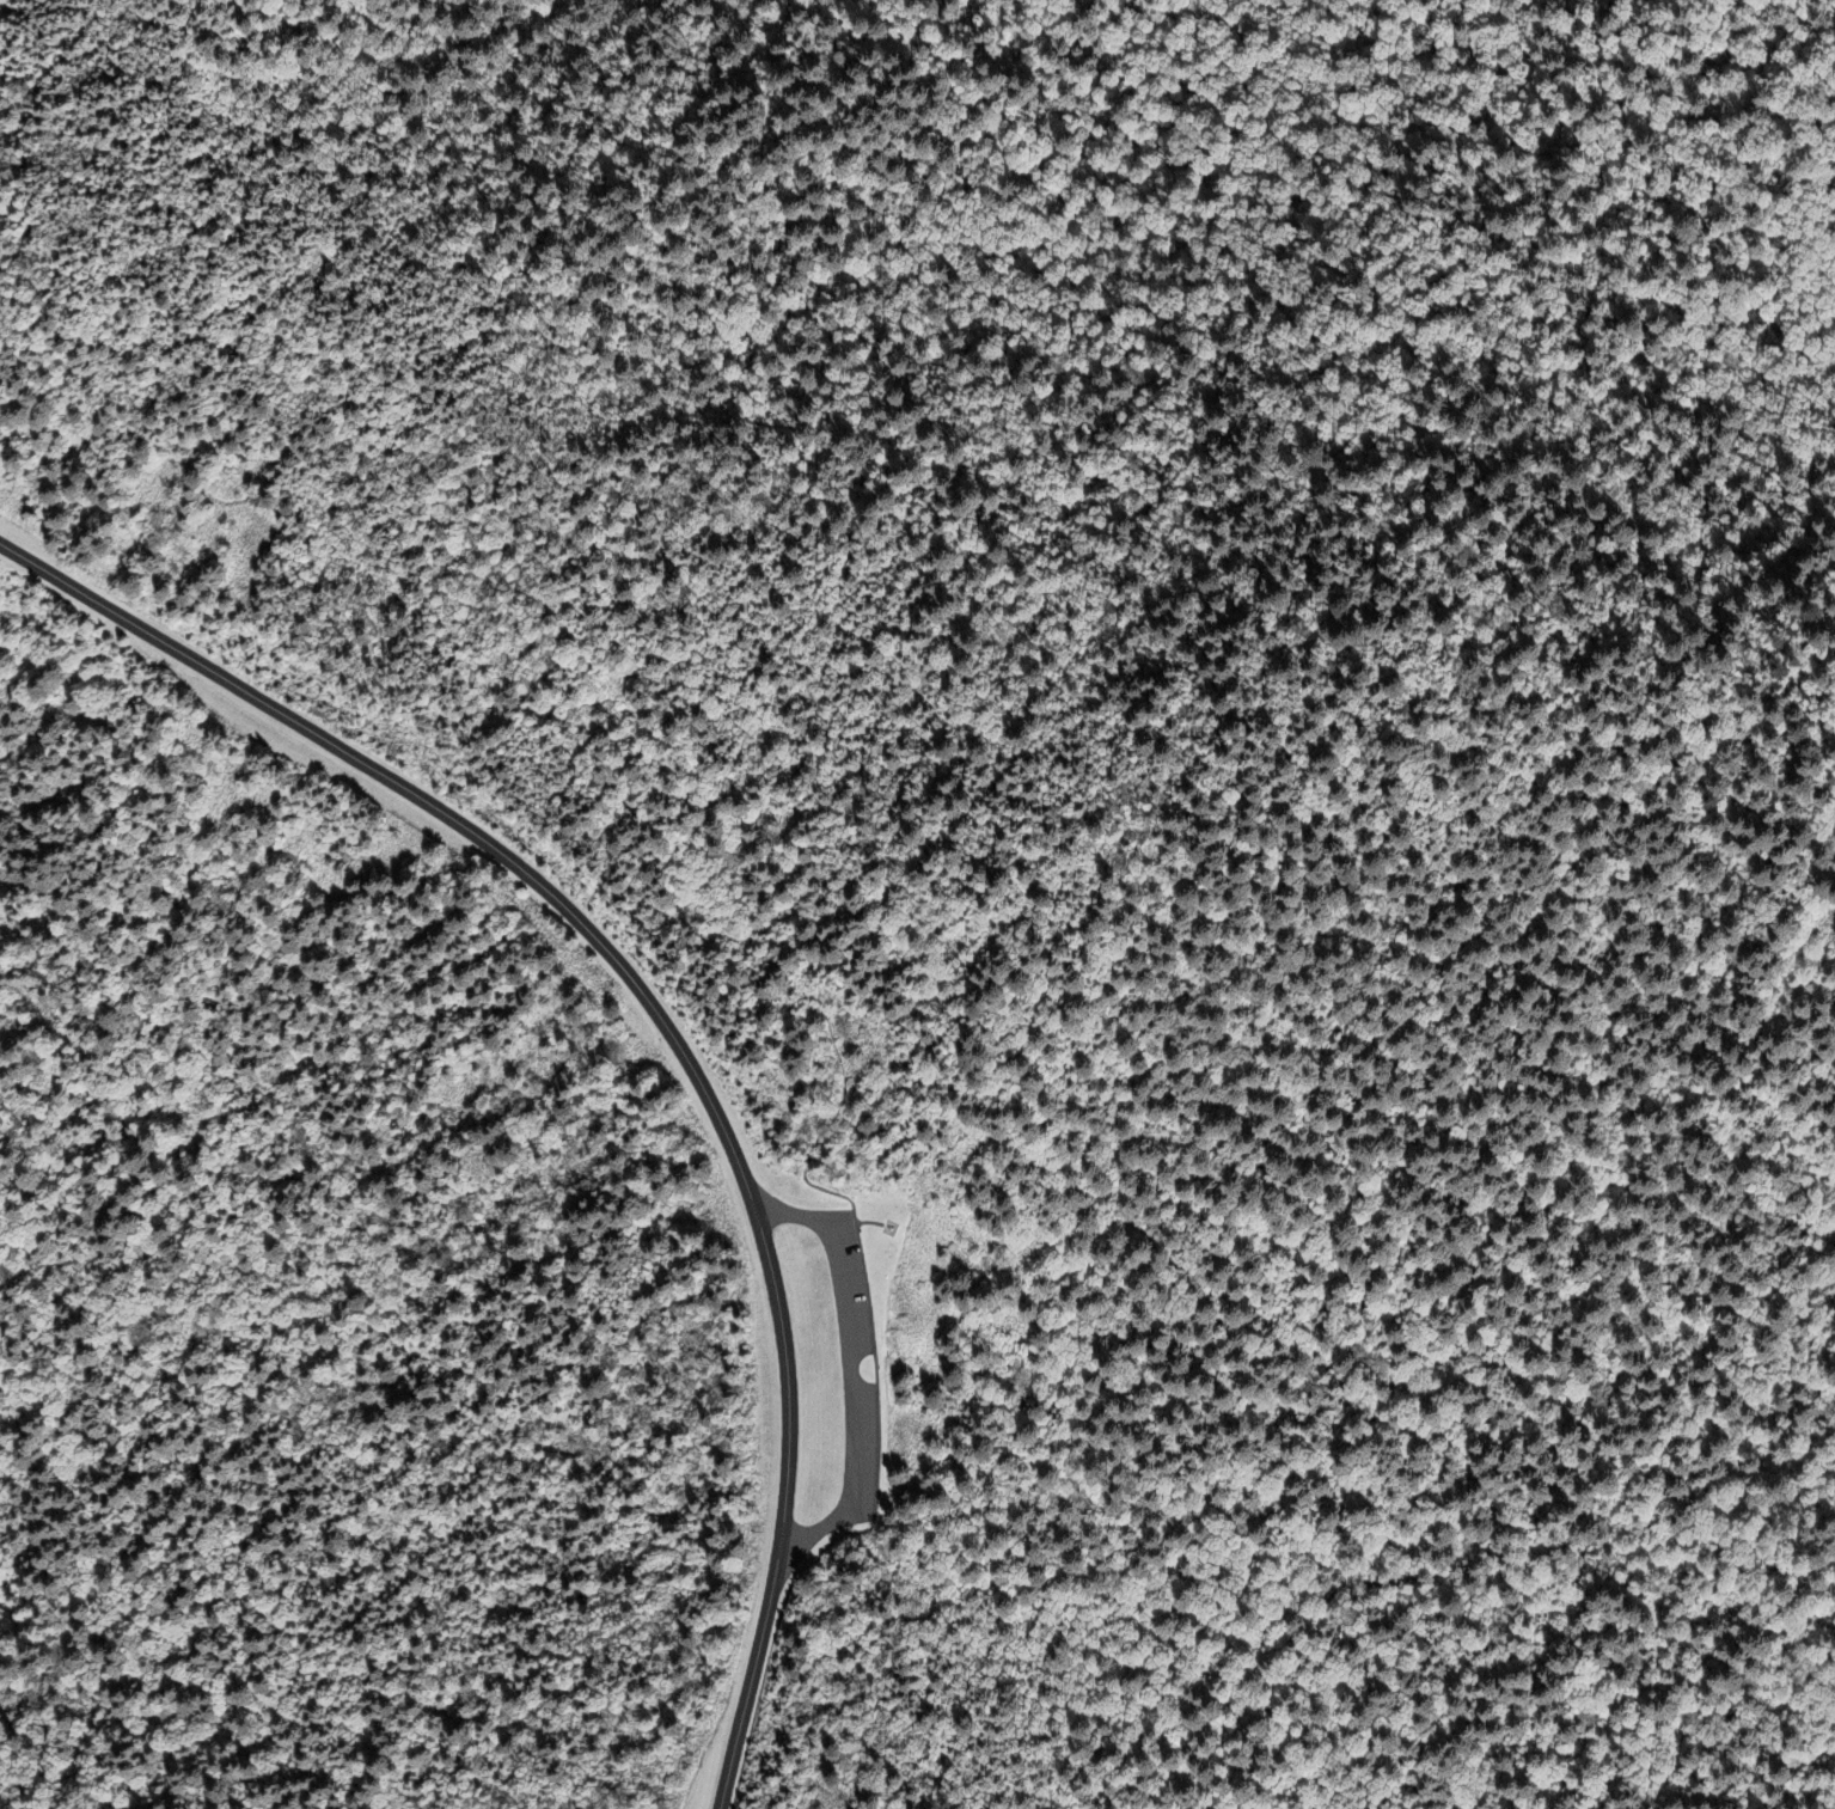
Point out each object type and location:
road: (371, 346)
road: (310, 526)
road: (794, 930)
road: (662, 1021)
road: (873, 1223)
road: (858, 1364)
parking lot: (854, 1365)

